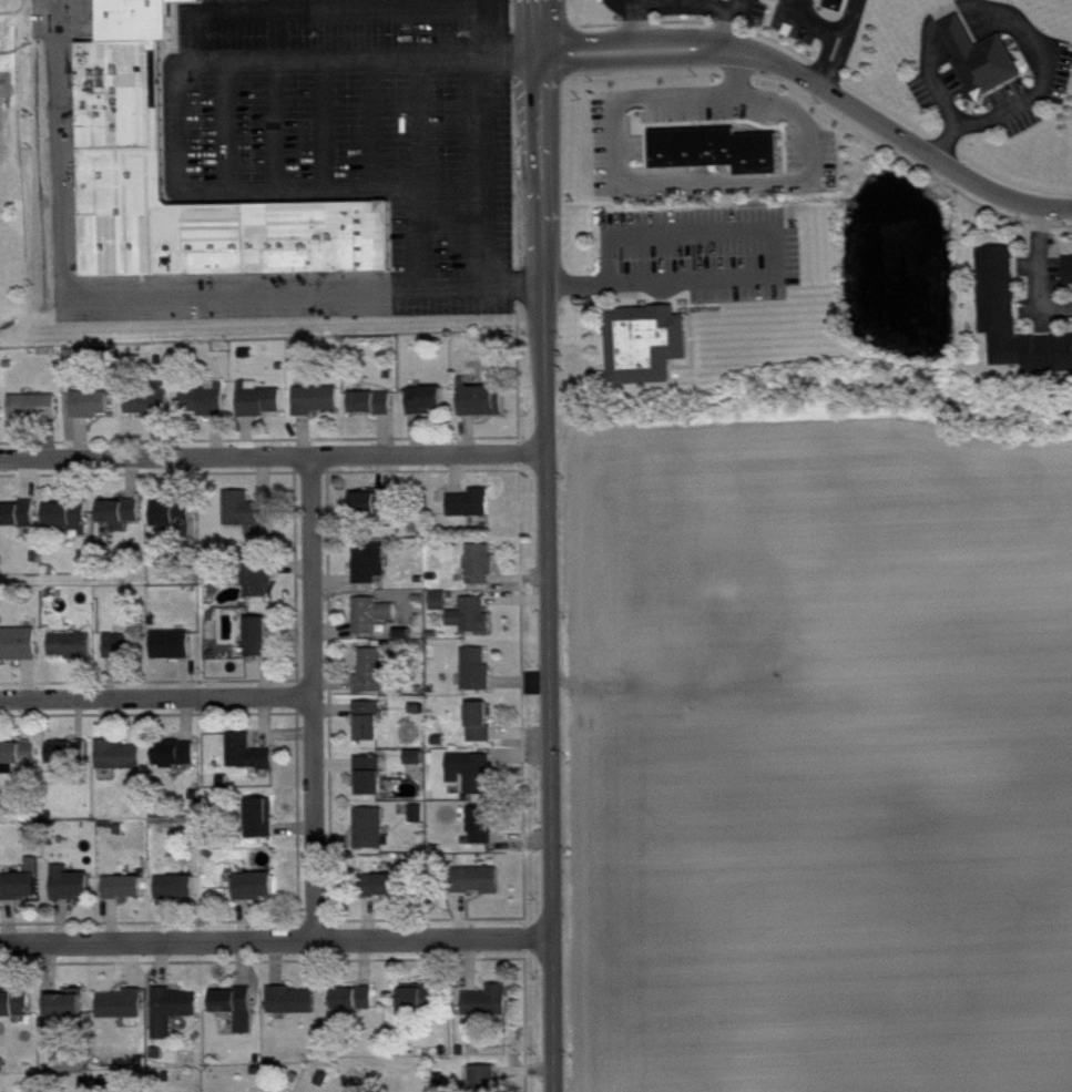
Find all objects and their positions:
road: (673, 1)
building: (715, 3)
road: (726, 3)
road: (629, 4)
building: (844, 10)
building: (134, 19)
road: (501, 33)
road: (522, 67)
road: (317, 69)
building: (984, 70)
road: (820, 84)
building: (120, 120)
building: (722, 160)
park: (14, 173)
park: (0, 204)
road: (486, 211)
road: (1038, 268)
building: (1070, 279)
road: (126, 307)
building: (1017, 329)
building: (649, 354)
building: (262, 409)
building: (319, 409)
building: (153, 410)
building: (210, 410)
building: (430, 410)
building: (486, 410)
building: (376, 412)
building: (94, 414)
building: (2, 415)
building: (37, 417)
road: (275, 458)
building: (473, 513)
building: (249, 521)
building: (124, 523)
building: (19, 524)
building: (176, 524)
building: (71, 527)
road: (552, 545)
building: (374, 571)
building: (483, 573)
building: (262, 588)
building: (443, 610)
building: (375, 624)
building: (474, 626)
building: (262, 646)
building: (21, 653)
building: (75, 654)
building: (174, 654)
building: (125, 656)
building: (479, 680)
building: (374, 681)
road: (155, 696)
road: (312, 696)
building: (371, 731)
building: (483, 732)
crop: (819, 759)
building: (178, 763)
building: (251, 763)
building: (123, 765)
building: (67, 766)
building: (22, 767)
building: (419, 767)
building: (474, 782)
building: (372, 785)
building: (264, 828)
building: (484, 835)
building: (375, 839)
building: (480, 890)
building: (25, 892)
building: (74, 894)
building: (386, 895)
building: (259, 896)
building: (129, 897)
building: (181, 897)
road: (278, 935)
building: (423, 1008)
building: (295, 1010)
building: (356, 1010)
building: (491, 1011)
building: (70, 1013)
building: (17, 1014)
building: (125, 1014)
building: (239, 1017)
building: (175, 1020)
building: (54, 1047)
building: (487, 1083)

